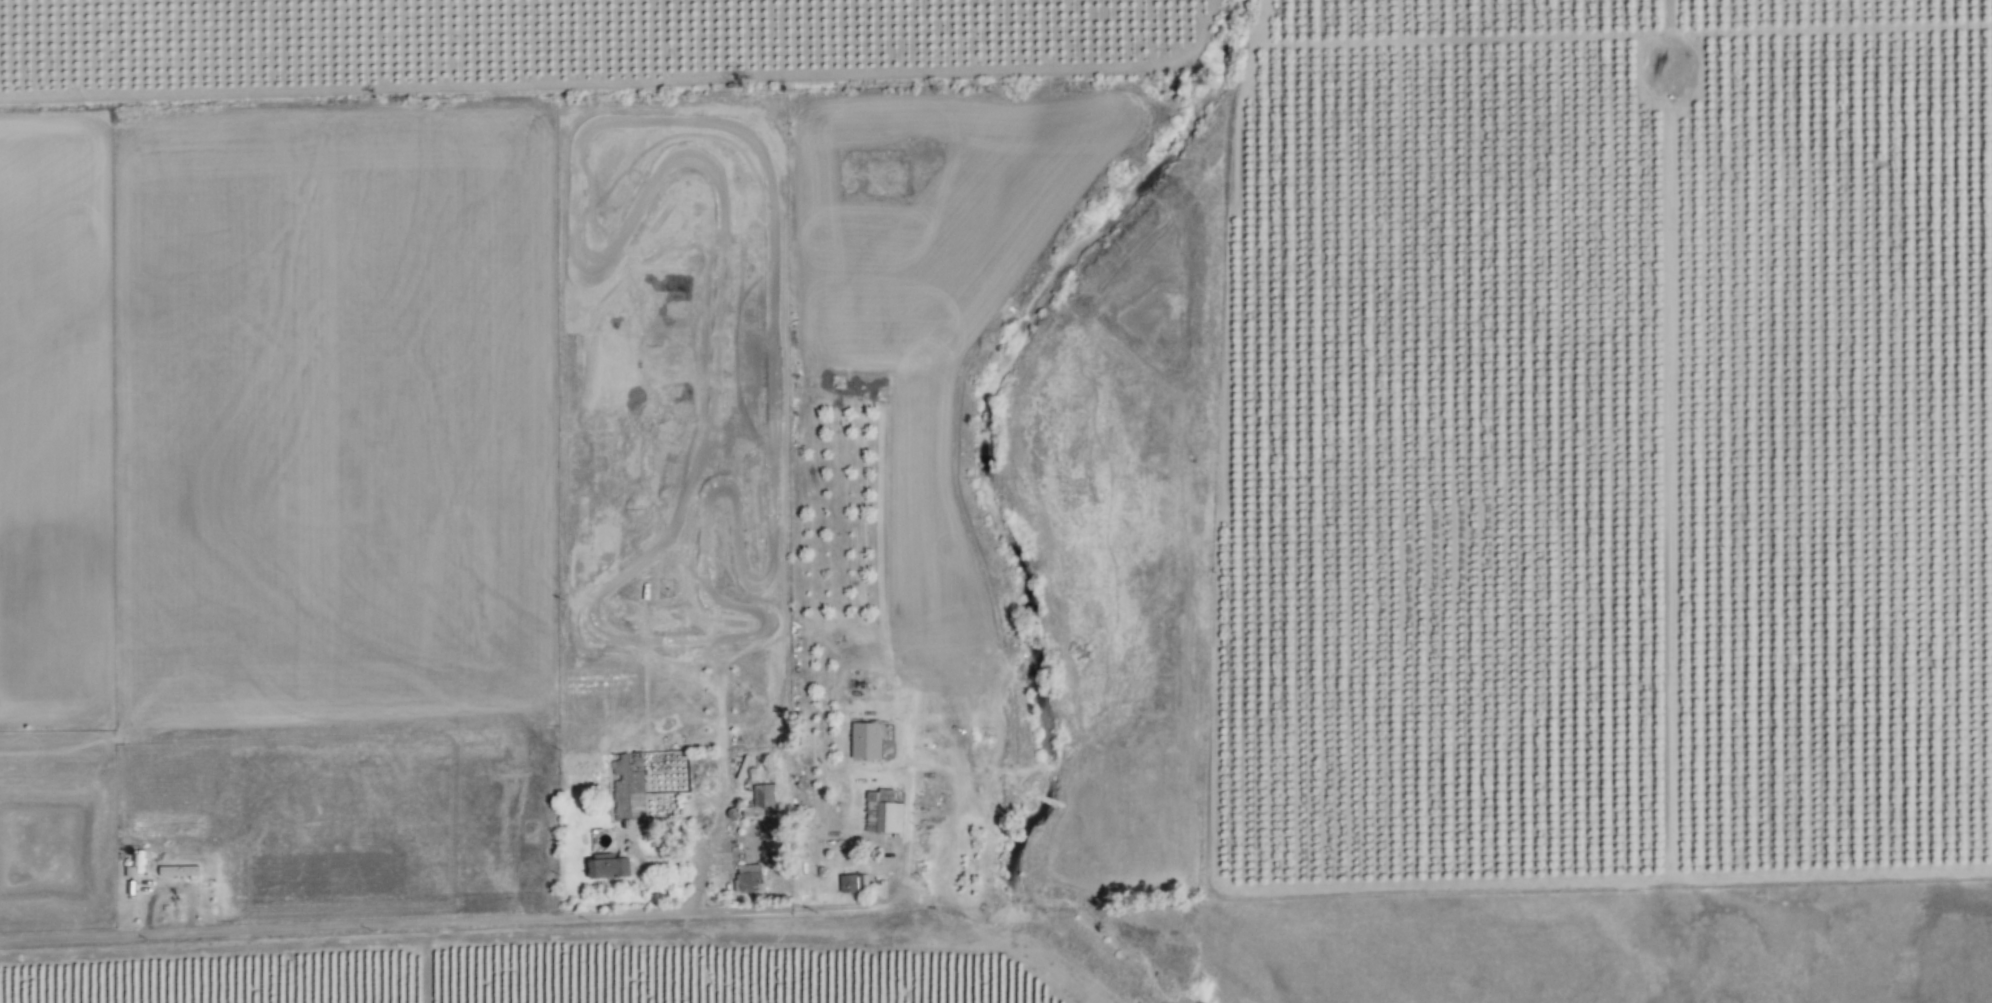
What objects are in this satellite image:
building: (863, 741)
building: (763, 798)
building: (881, 813)
building: (605, 868)
building: (747, 876)
building: (851, 883)
road: (449, 943)
crop: (544, 983)

